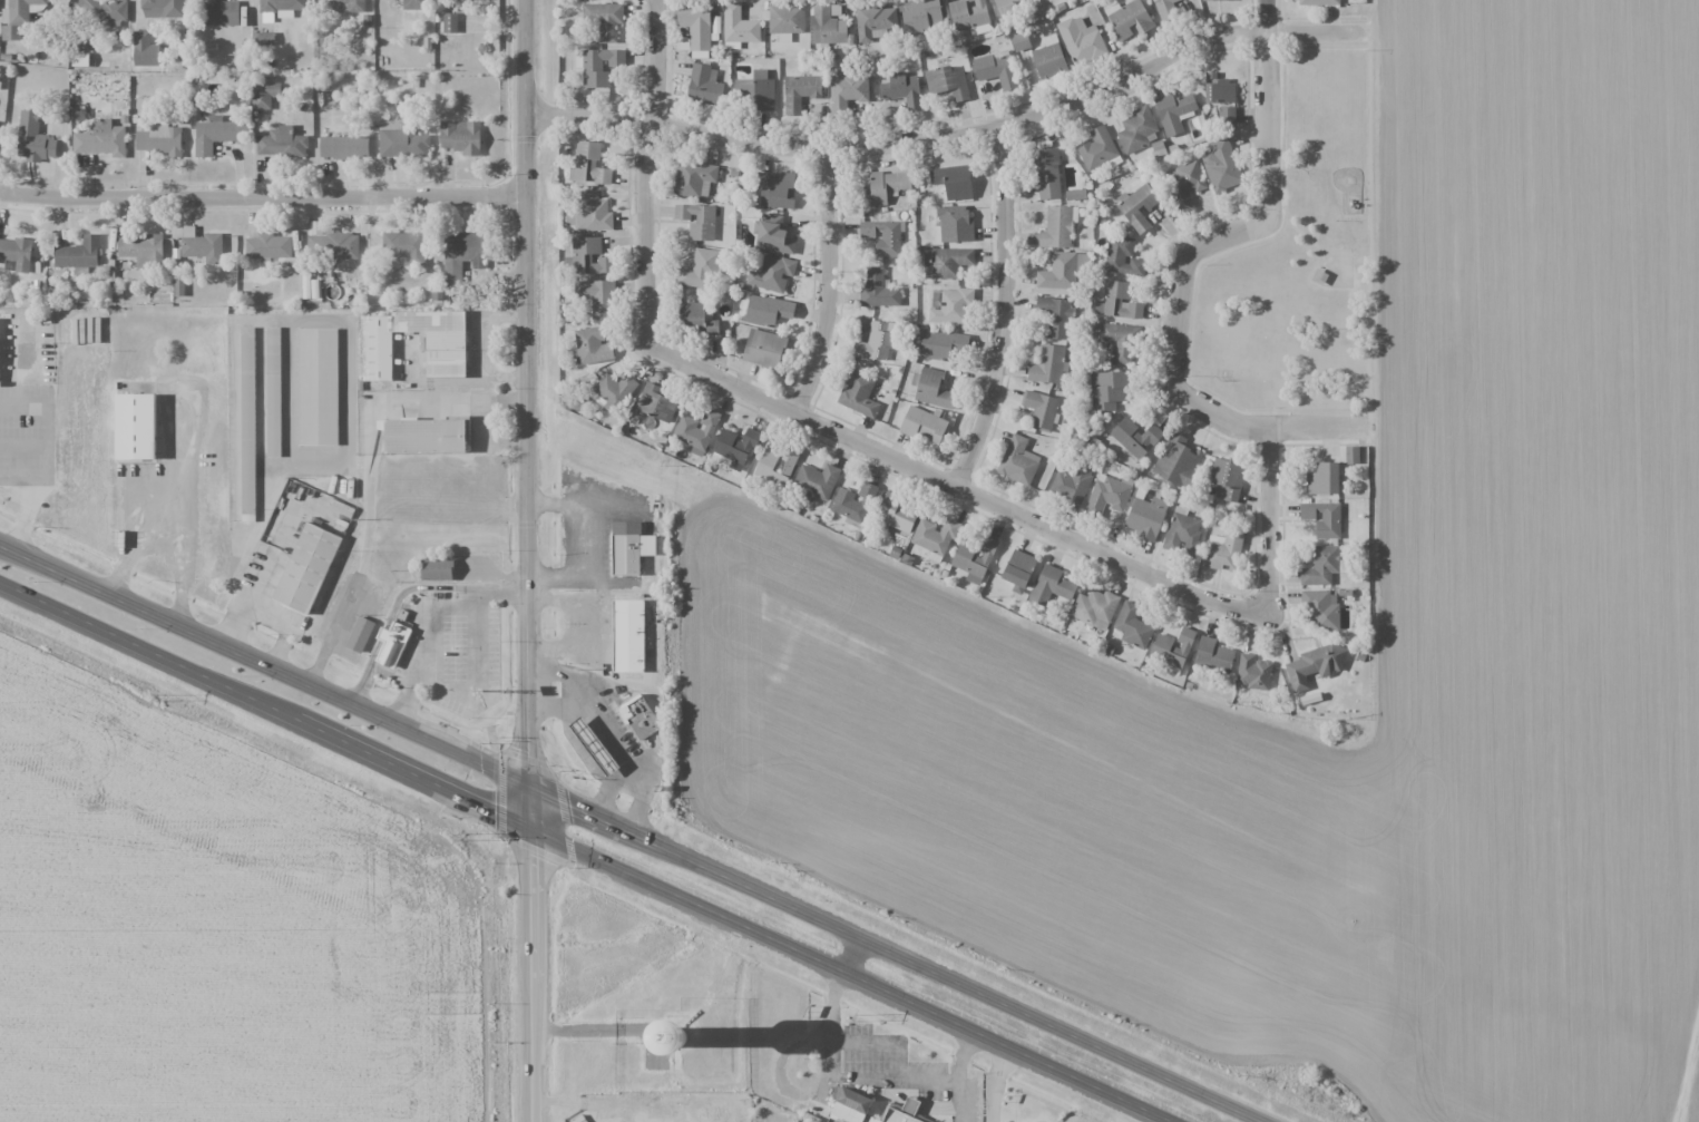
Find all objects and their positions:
building: (1215, 0)
building: (1318, 2)
building: (414, 4)
building: (353, 6)
building: (1005, 6)
building: (282, 7)
building: (163, 9)
building: (1166, 9)
building: (20, 11)
building: (102, 11)
building: (222, 12)
building: (968, 13)
building: (921, 16)
building: (604, 19)
building: (1130, 20)
building: (785, 21)
building: (449, 22)
building: (873, 22)
building: (739, 26)
building: (827, 27)
building: (695, 28)
building: (1019, 40)
building: (1081, 40)
building: (144, 50)
building: (224, 55)
building: (1048, 59)
building: (599, 66)
building: (996, 69)
building: (947, 82)
building: (704, 86)
building: (899, 88)
building: (1219, 89)
building: (755, 91)
building: (799, 92)
building: (846, 92)
building: (264, 95)
building: (1174, 111)
building: (1227, 114)
building: (1136, 130)
road: (955, 133)
building: (217, 134)
building: (460, 137)
building: (32, 139)
building: (101, 139)
building: (159, 139)
building: (281, 143)
building: (402, 144)
building: (343, 147)
building: (1097, 148)
building: (588, 164)
building: (1221, 165)
road: (655, 174)
building: (1046, 174)
building: (694, 178)
building: (1187, 183)
building: (950, 184)
building: (885, 187)
building: (777, 189)
road: (263, 198)
building: (1137, 206)
building: (590, 213)
road: (1267, 217)
building: (697, 219)
building: (955, 224)
building: (1057, 227)
building: (772, 235)
building: (882, 236)
building: (202, 245)
building: (333, 245)
building: (268, 246)
building: (403, 247)
building: (141, 250)
building: (16, 254)
building: (78, 254)
building: (460, 255)
building: (587, 257)
building: (1123, 258)
building: (949, 262)
building: (701, 269)
building: (771, 273)
building: (1058, 275)
building: (178, 282)
road: (830, 286)
building: (878, 287)
building: (597, 297)
building: (1116, 300)
building: (953, 306)
building: (766, 311)
road: (1008, 313)
building: (1056, 315)
building: (695, 319)
building: (877, 341)
building: (1120, 341)
building: (941, 344)
building: (592, 345)
building: (763, 349)
building: (445, 354)
building: (1, 357)
building: (1048, 364)
building: (318, 387)
building: (933, 389)
building: (1107, 390)
building: (273, 391)
building: (612, 391)
building: (858, 394)
building: (655, 403)
road: (1226, 409)
building: (1041, 410)
road: (528, 413)
building: (247, 421)
building: (922, 425)
road: (1322, 428)
building: (696, 431)
building: (139, 435)
building: (1135, 437)
building: (427, 442)
building: (735, 447)
building: (1351, 455)
building: (1017, 461)
building: (1176, 461)
building: (775, 467)
building: (1227, 479)
building: (1322, 479)
building: (816, 481)
building: (1071, 487)
road: (957, 492)
building: (1107, 495)
building: (853, 504)
building: (897, 515)
building: (1145, 517)
building: (1322, 518)
road: (1273, 523)
building: (1182, 534)
building: (935, 536)
building: (629, 547)
building: (1222, 550)
building: (975, 560)
building: (1320, 566)
building: (437, 569)
building: (310, 570)
building: (1018, 570)
building: (1053, 585)
crop: (1540, 606)
building: (1095, 607)
building: (1320, 609)
building: (1134, 627)
building: (360, 634)
building: (627, 636)
building: (1173, 647)
building: (393, 648)
building: (1213, 655)
building: (1314, 665)
building: (1253, 672)
power tower: (159, 697)
building: (638, 718)
building: (593, 747)
traffic signals: (529, 762)
traffic signals: (569, 807)
traffic signals: (492, 811)
road: (632, 835)
power tower: (461, 836)
road: (587, 853)
traffic signals: (530, 858)
road: (851, 954)
road: (530, 975)
power tower: (858, 1015)
road: (871, 1079)
crop: (1692, 1095)
building: (849, 1106)
building: (902, 1112)

